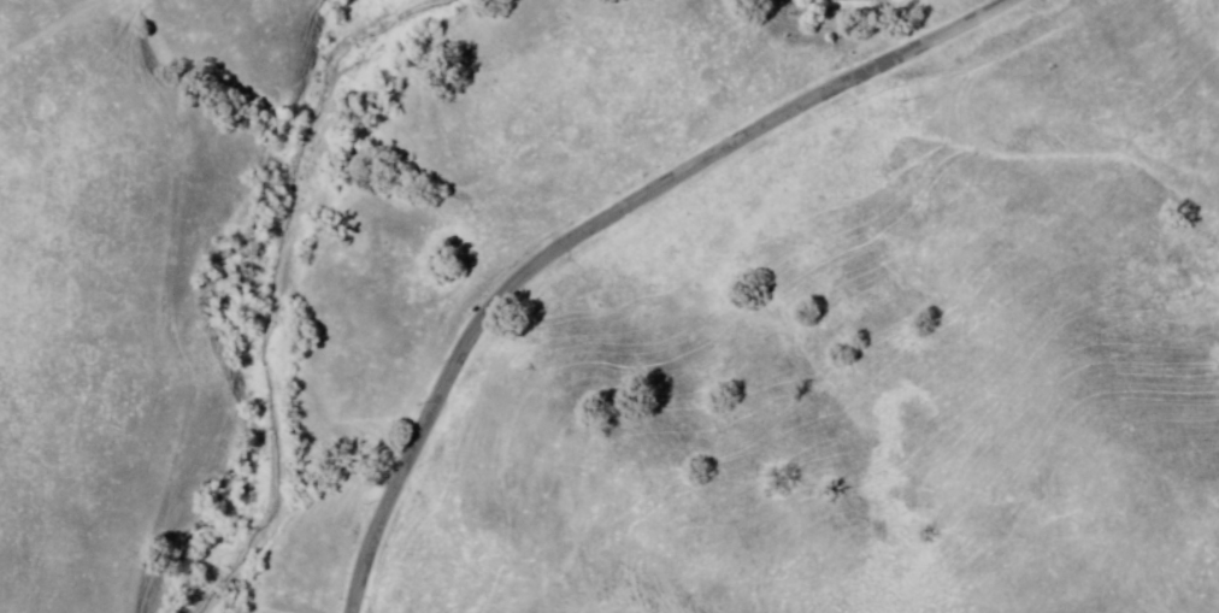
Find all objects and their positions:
road: (591, 225)

